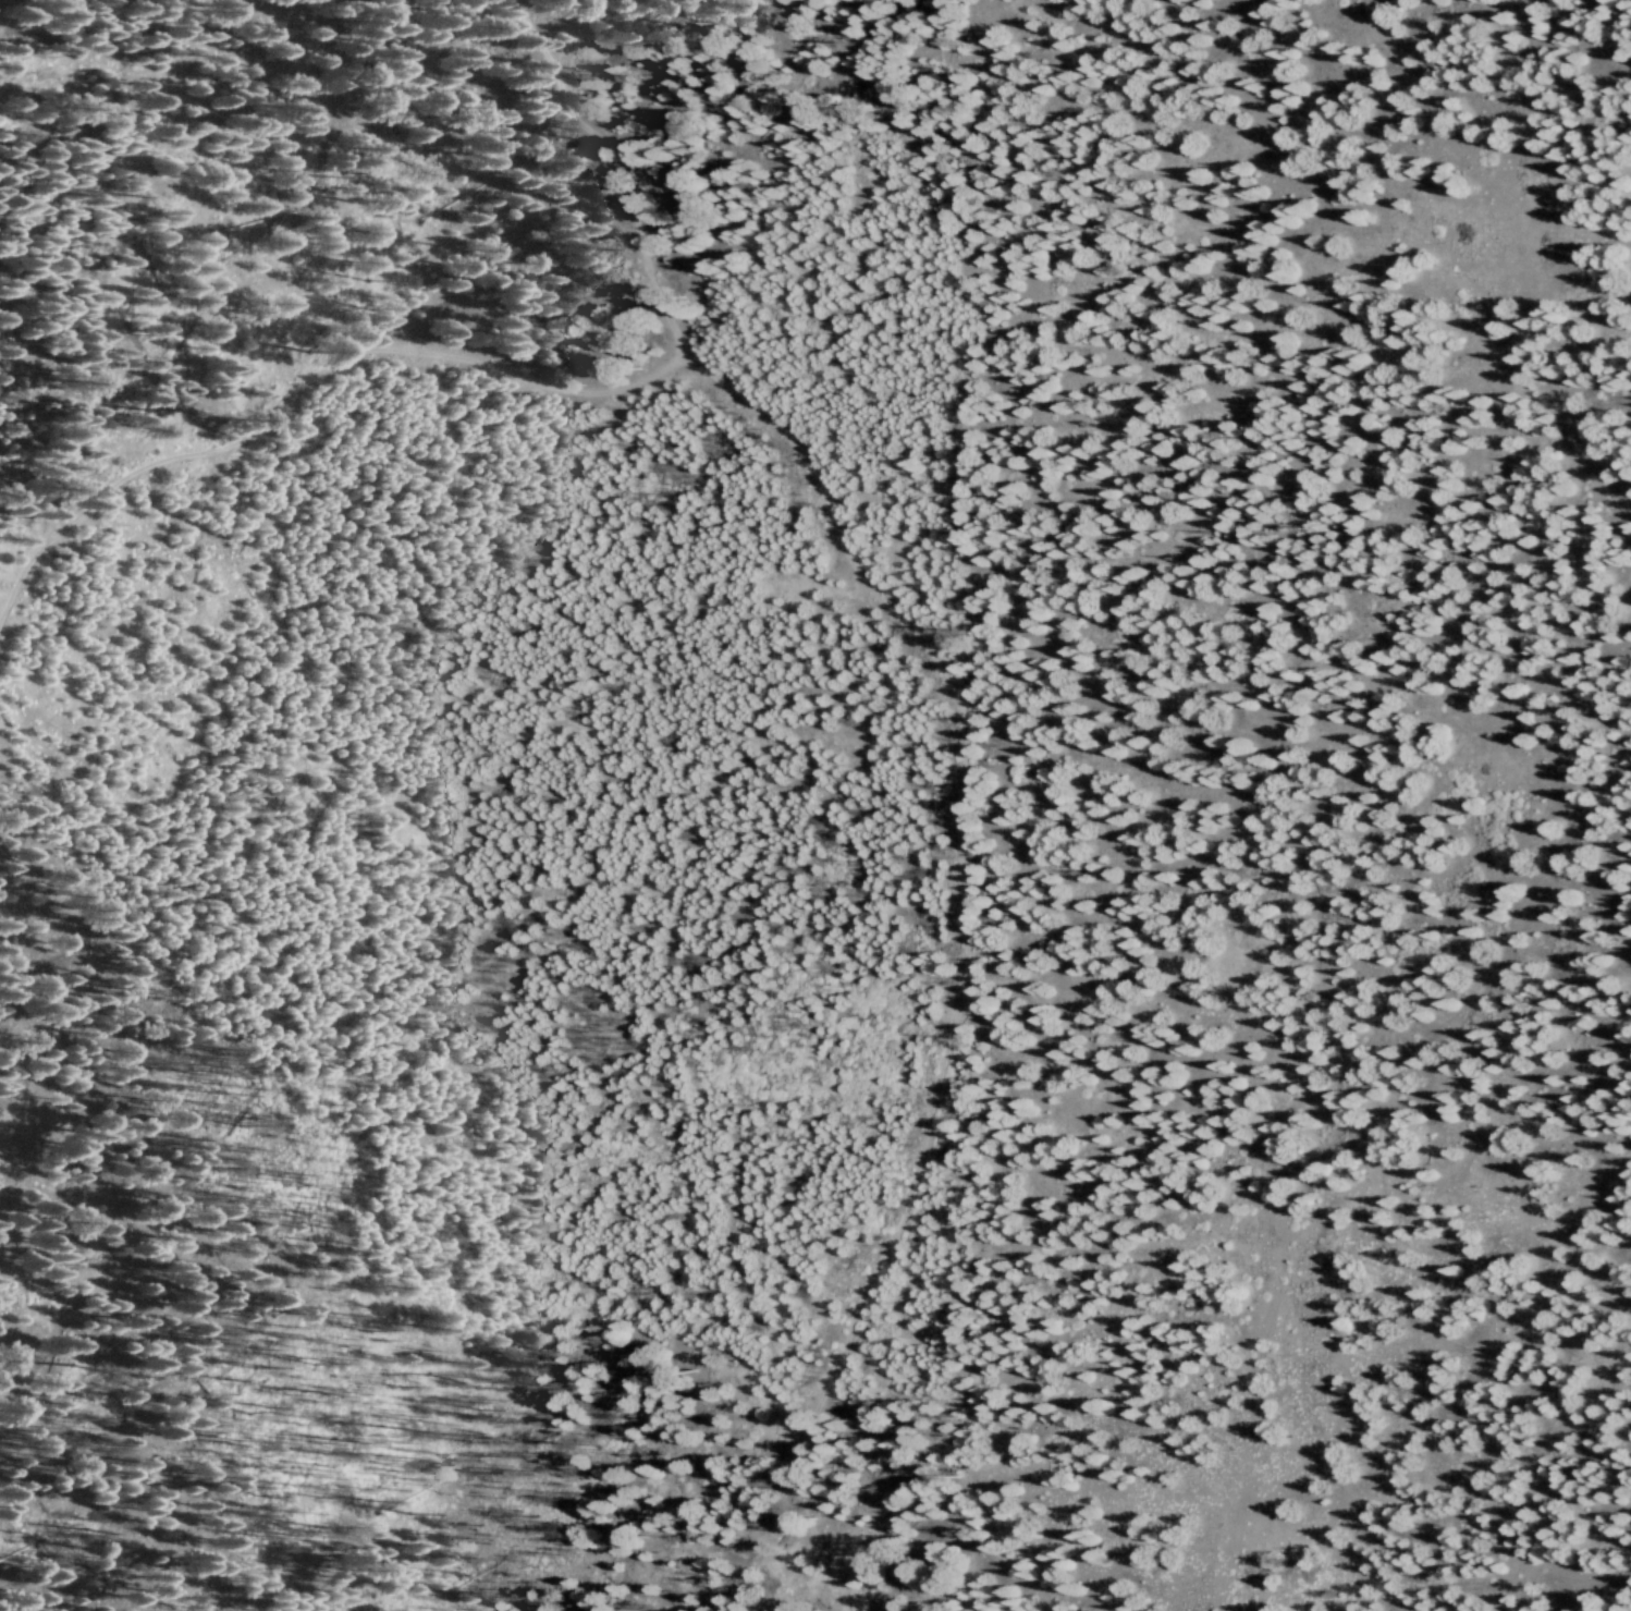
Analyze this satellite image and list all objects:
road: (487, 354)
road: (965, 948)

